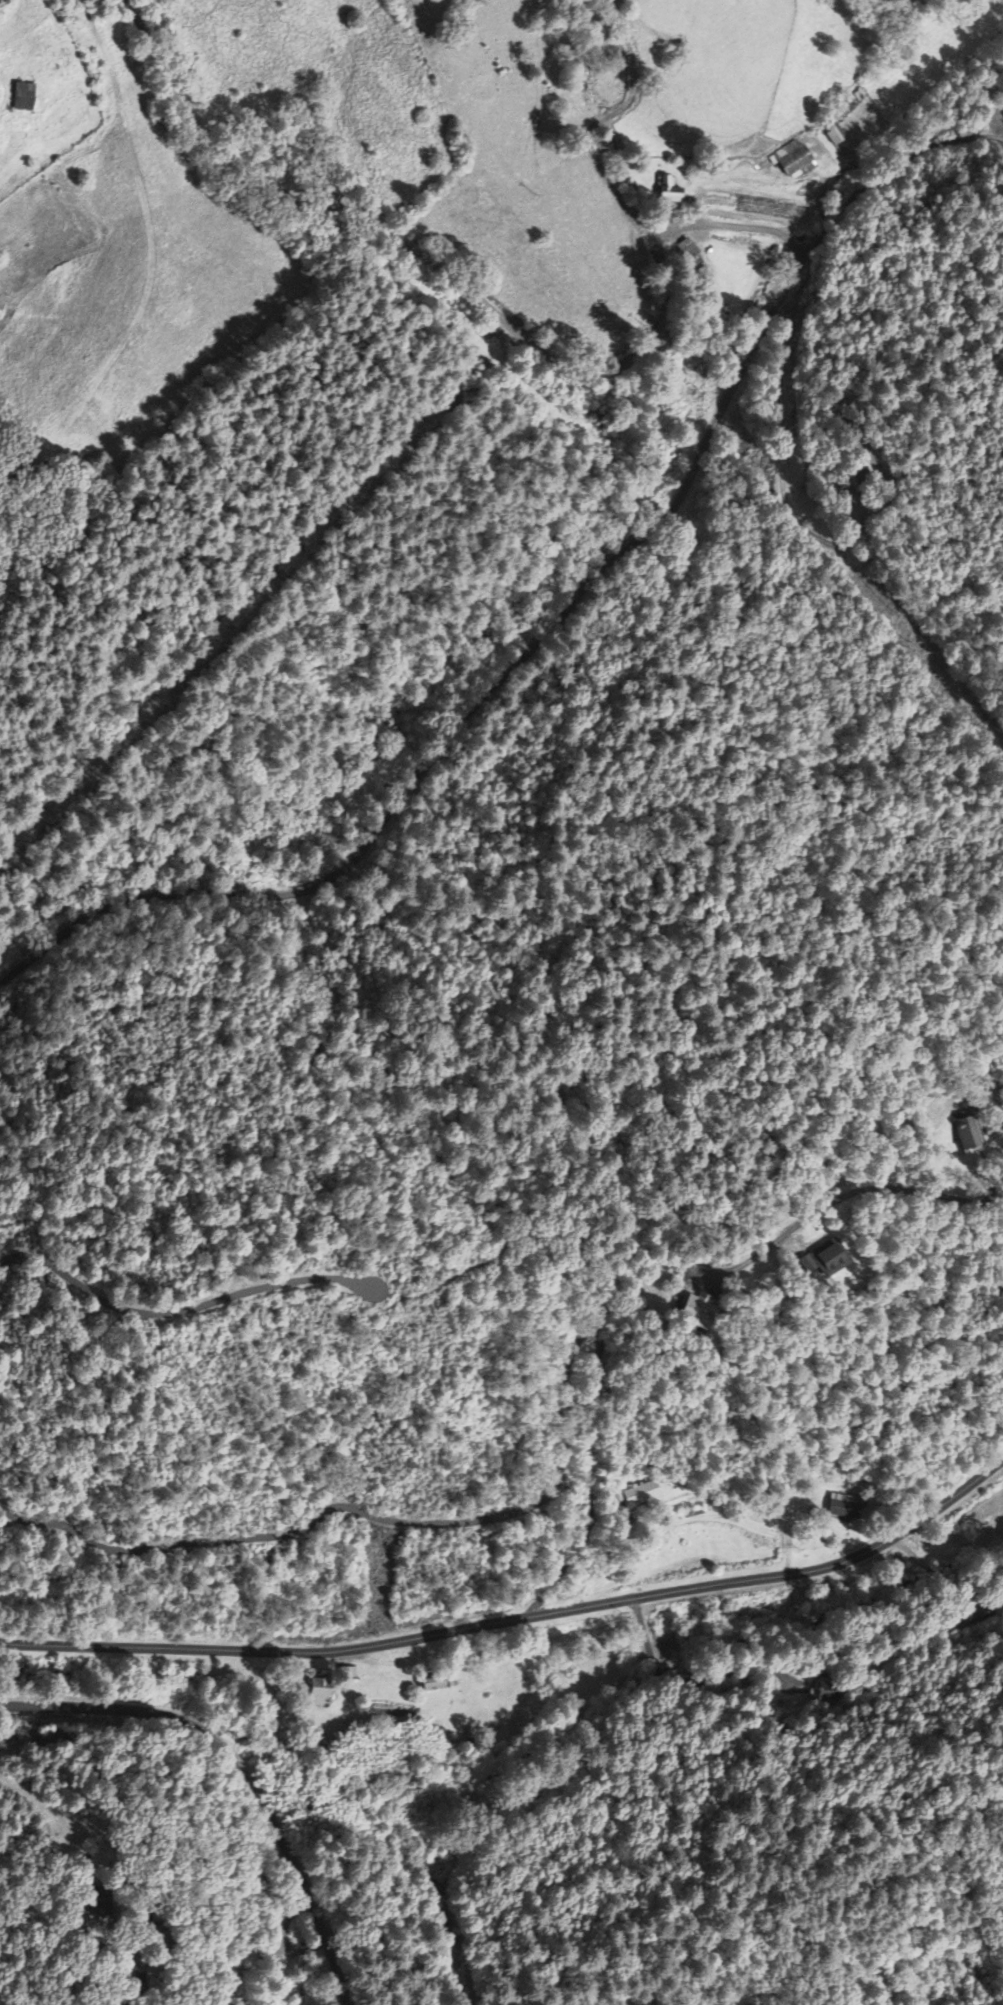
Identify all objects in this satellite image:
building: (23, 97)
building: (793, 161)
building: (669, 191)
road: (755, 347)
building: (966, 1134)
road: (856, 1189)
building: (825, 1260)
building: (696, 1313)
building: (642, 1496)
building: (843, 1507)
road: (517, 1615)
building: (433, 1686)
building: (319, 1693)
road: (243, 1764)
road: (116, 1931)

